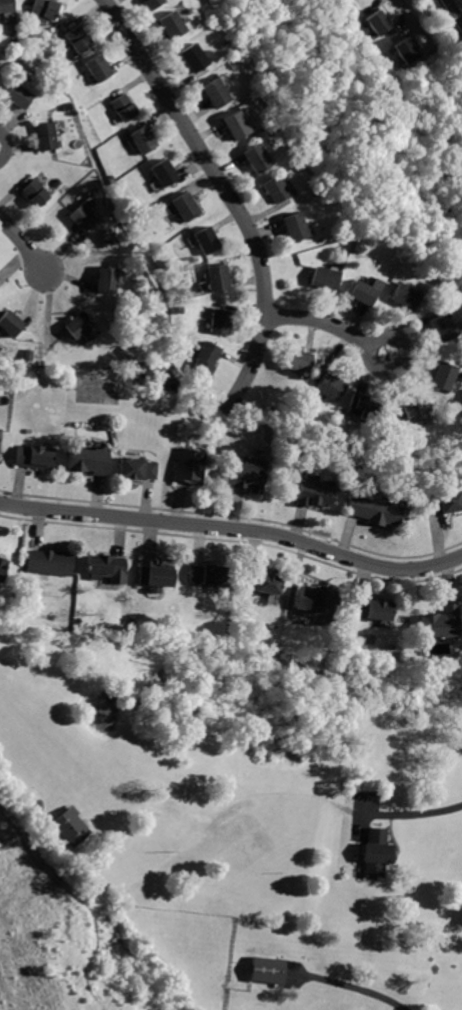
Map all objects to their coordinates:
building: (147, 4)
building: (6, 5)
road: (374, 6)
building: (40, 10)
road: (454, 12)
building: (376, 23)
road: (398, 25)
building: (168, 26)
road: (405, 31)
road: (424, 34)
building: (77, 39)
building: (404, 50)
building: (189, 58)
building: (96, 70)
building: (211, 93)
building: (16, 97)
building: (122, 108)
building: (232, 126)
building: (44, 136)
building: (140, 139)
building: (253, 157)
building: (163, 174)
building: (272, 189)
building: (33, 193)
road: (229, 196)
building: (182, 206)
building: (82, 213)
road: (124, 225)
building: (290, 226)
building: (108, 235)
building: (205, 240)
road: (24, 245)
building: (217, 277)
building: (322, 277)
building: (106, 278)
building: (362, 290)
building: (402, 294)
road: (47, 319)
building: (220, 320)
building: (77, 323)
building: (8, 324)
road: (330, 325)
building: (438, 328)
building: (205, 357)
building: (297, 361)
building: (440, 373)
building: (331, 386)
building: (413, 405)
building: (361, 408)
building: (0, 430)
building: (34, 456)
building: (87, 458)
building: (187, 465)
building: (136, 467)
building: (250, 474)
building: (313, 492)
building: (442, 502)
building: (377, 511)
road: (233, 527)
building: (49, 561)
building: (1, 566)
building: (105, 566)
building: (152, 574)
building: (207, 574)
building: (261, 581)
building: (316, 598)
building: (372, 608)
building: (439, 623)
road: (420, 811)
building: (70, 826)
building: (375, 851)
building: (268, 969)
road: (360, 987)
road: (4, 999)

